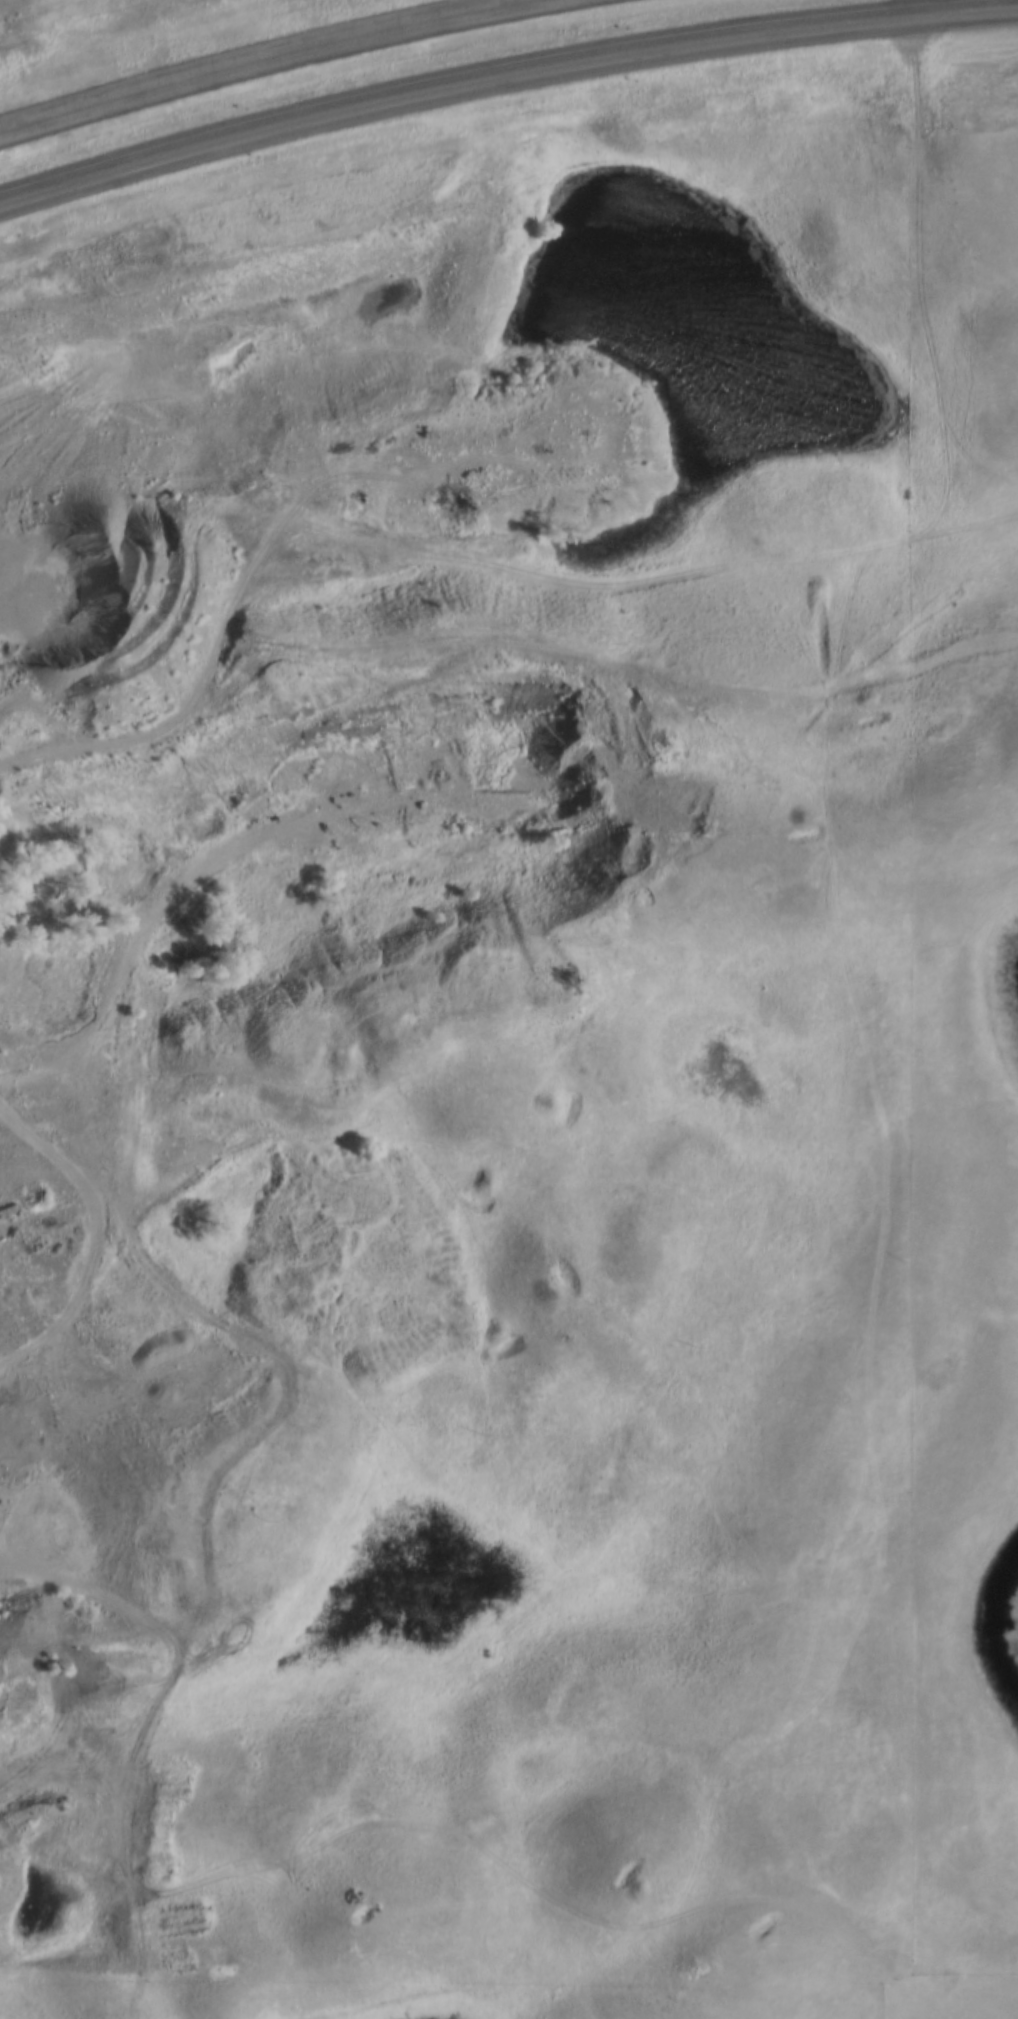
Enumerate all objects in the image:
road: (916, 8)
road: (269, 58)
road: (503, 81)
road: (916, 276)
road: (77, 520)
road: (583, 581)
road: (82, 1286)
quarry: (48, 1556)

